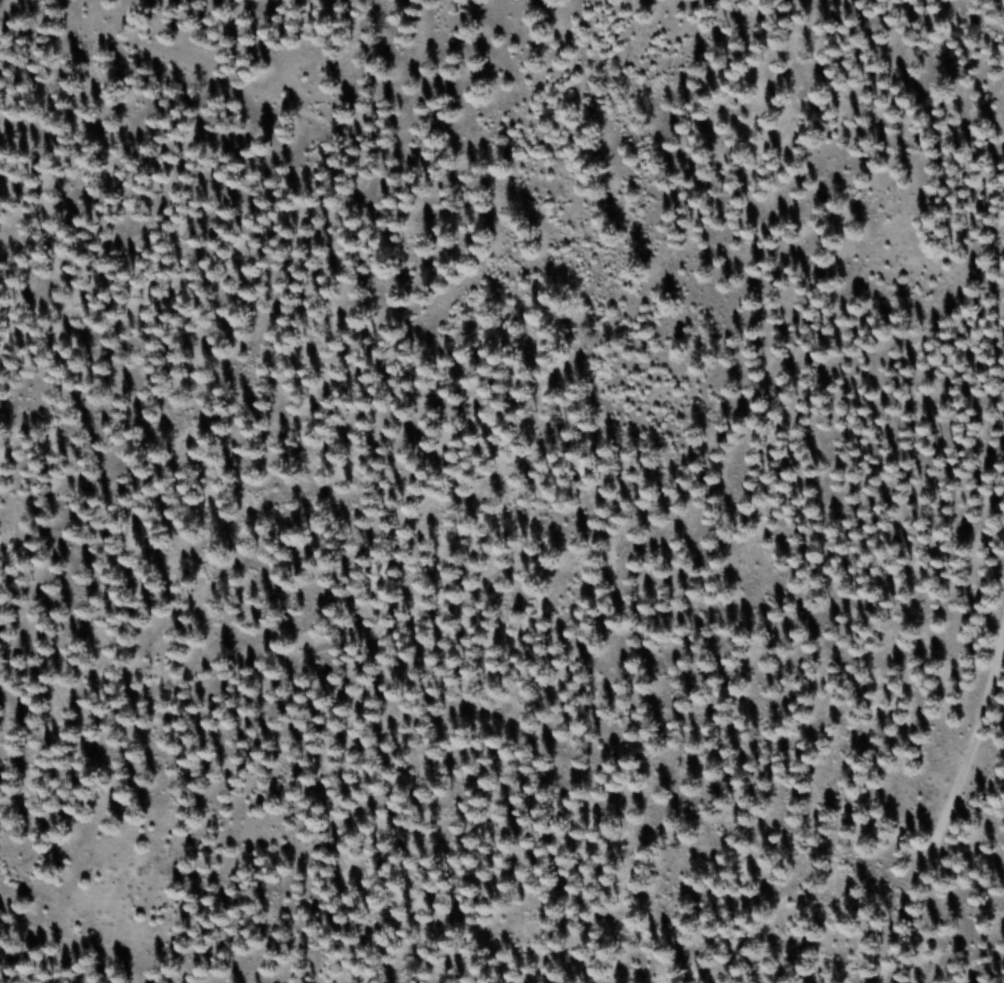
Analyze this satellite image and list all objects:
road: (942, 807)

